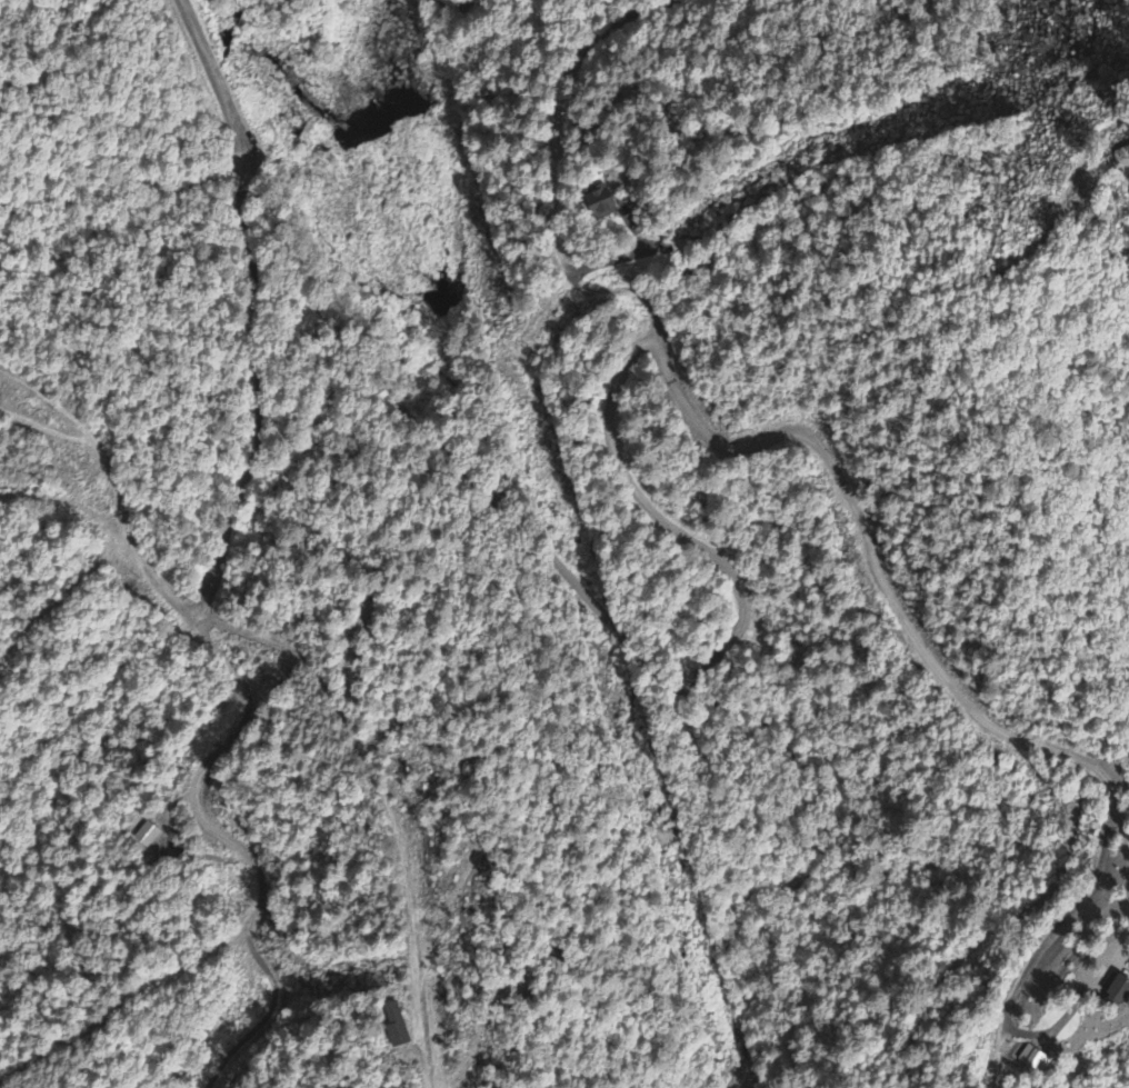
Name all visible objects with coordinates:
road: (461, 6)
road: (213, 76)
building: (600, 204)
road: (446, 463)
road: (640, 498)
road: (725, 648)
road: (243, 721)
building: (1120, 994)
building: (396, 1028)

